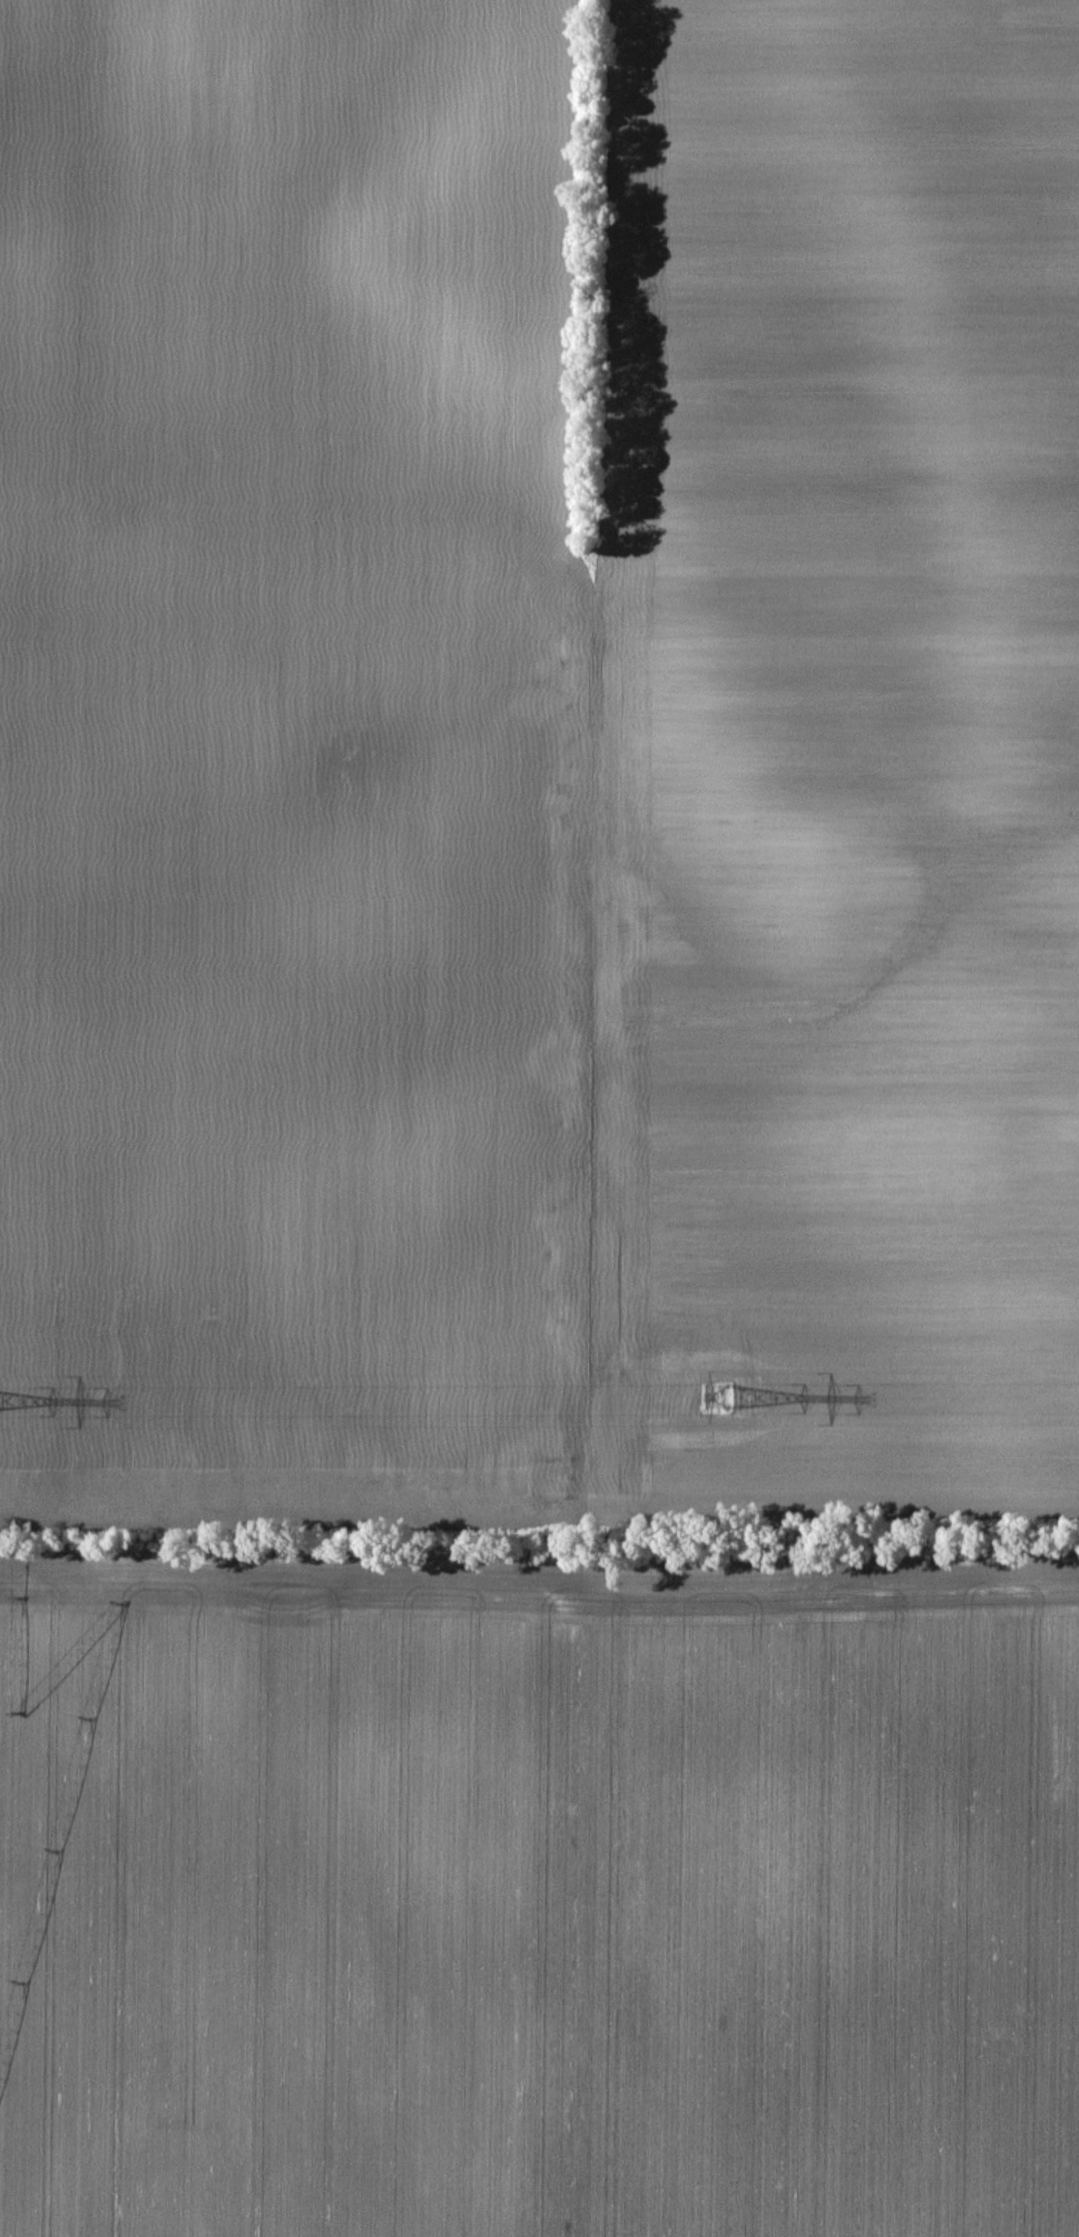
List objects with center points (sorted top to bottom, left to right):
power tower: (715, 1397)

